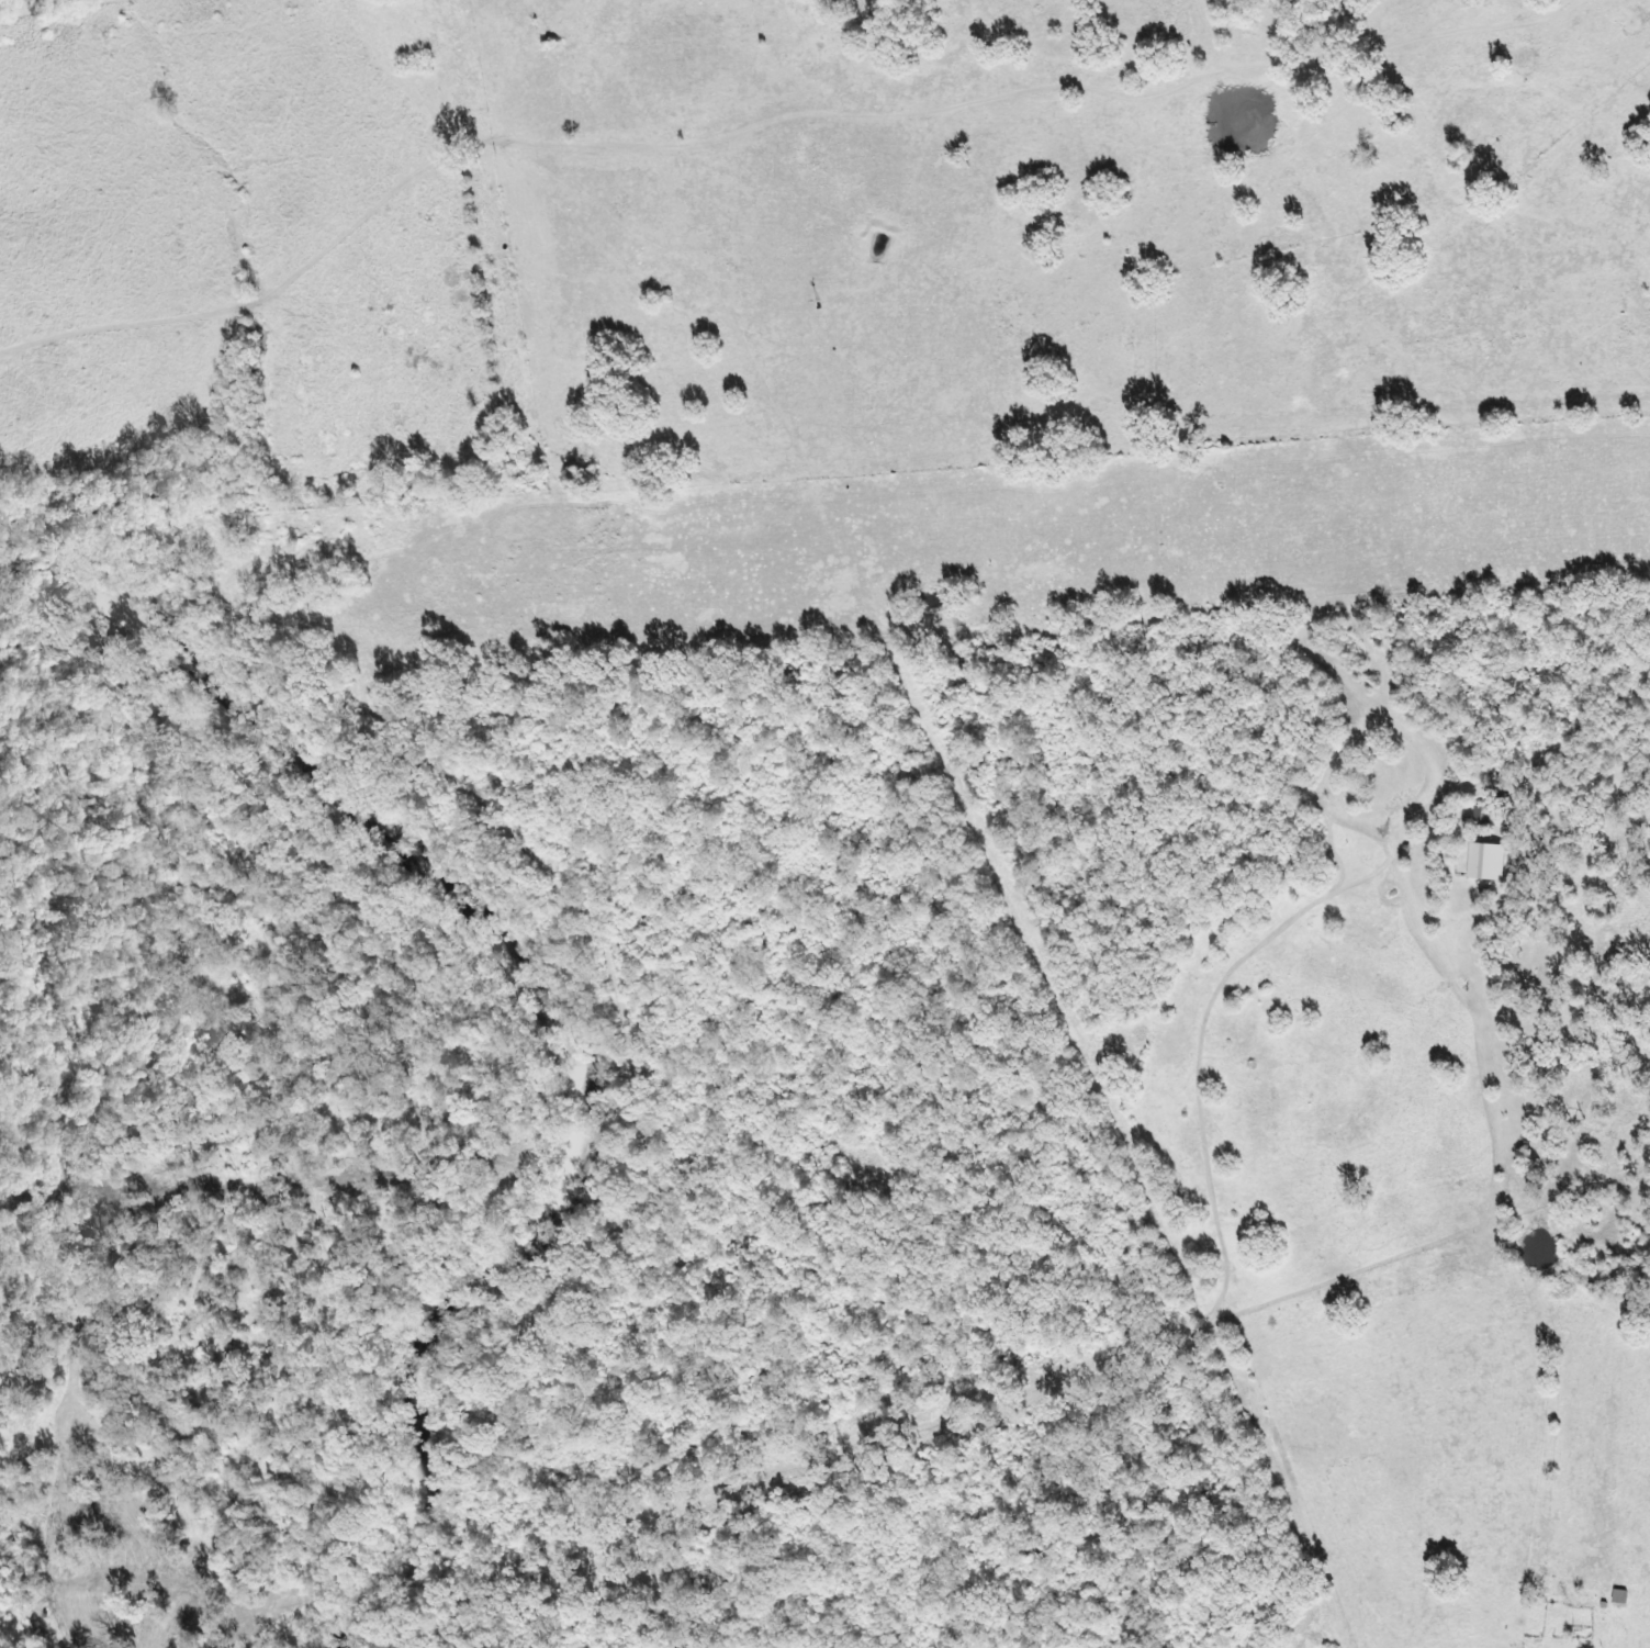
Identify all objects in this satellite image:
building: (1614, 1596)

